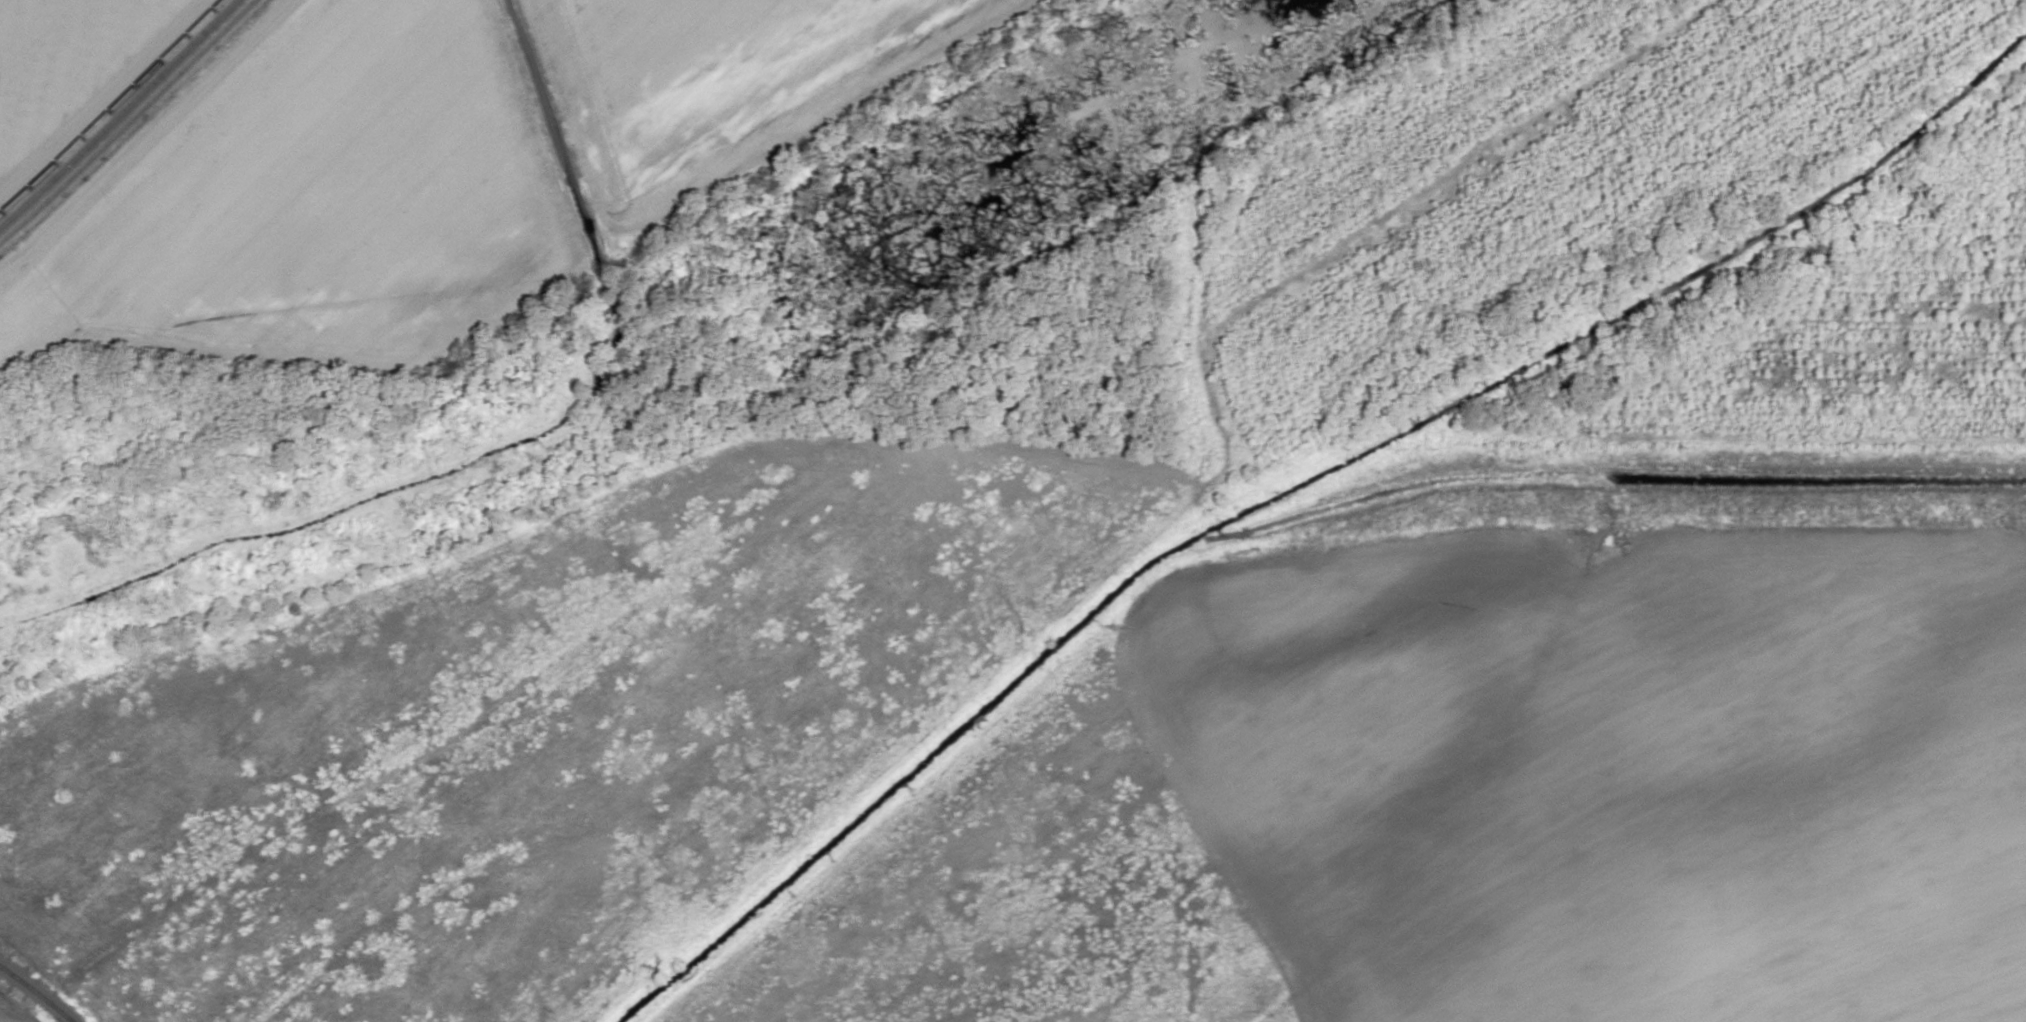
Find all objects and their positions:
road: (99, 96)
railway: (110, 106)
railway: (117, 114)
railway: (126, 120)
road: (142, 130)
railway: (36, 993)

